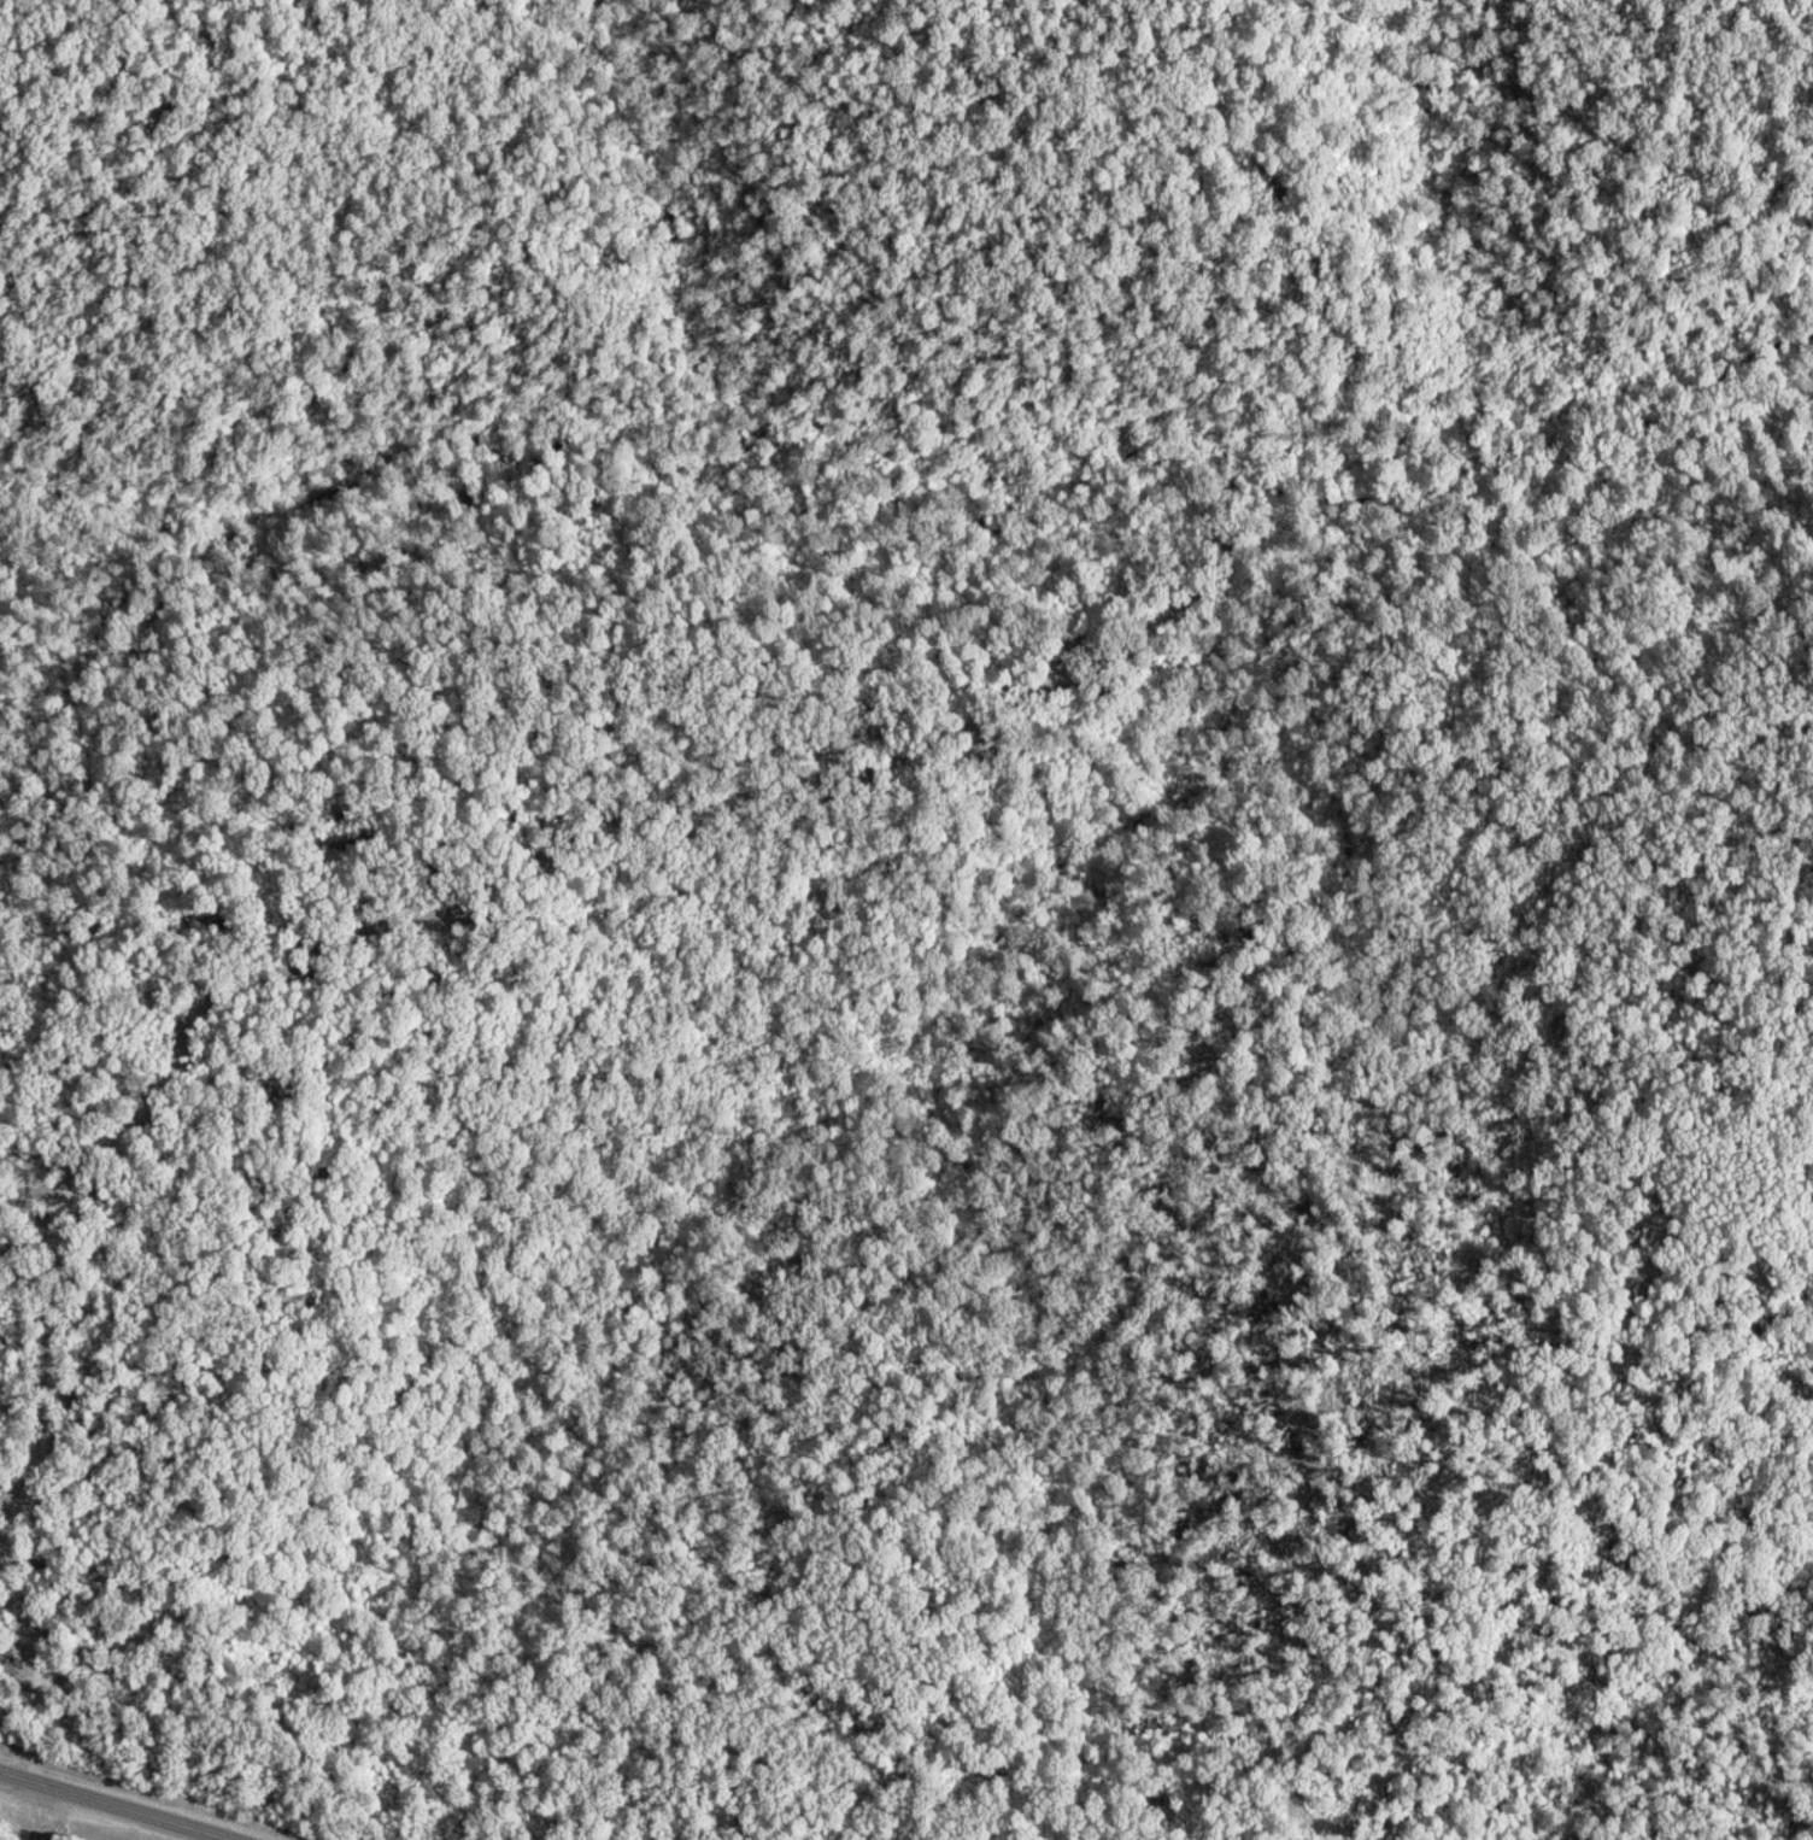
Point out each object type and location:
road: (112, 1806)

